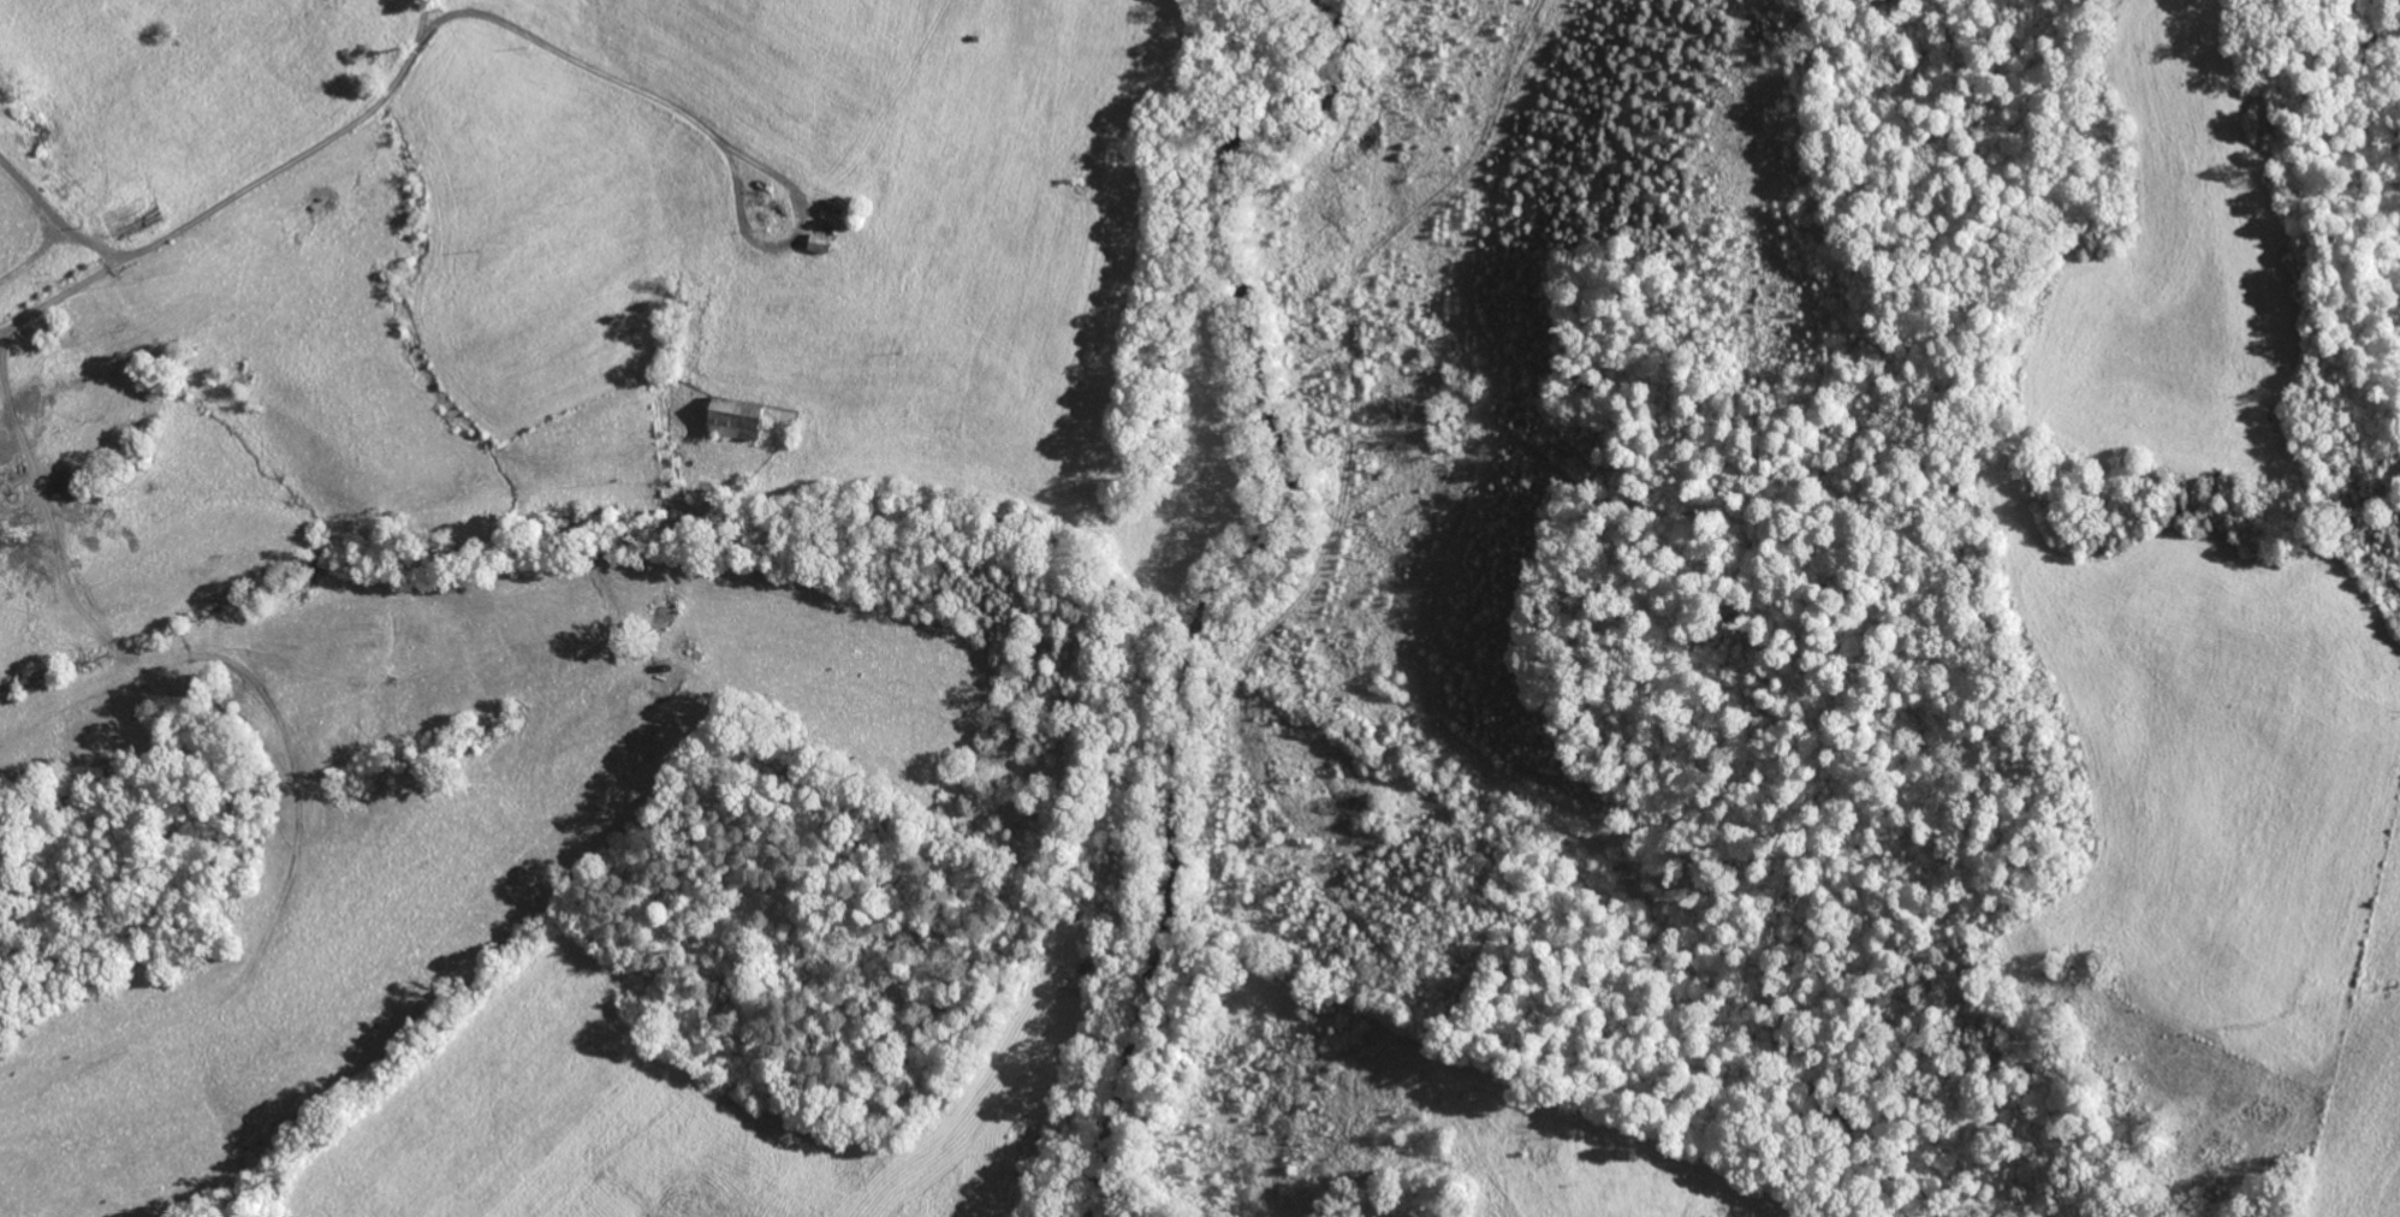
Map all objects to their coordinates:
building: (737, 417)

